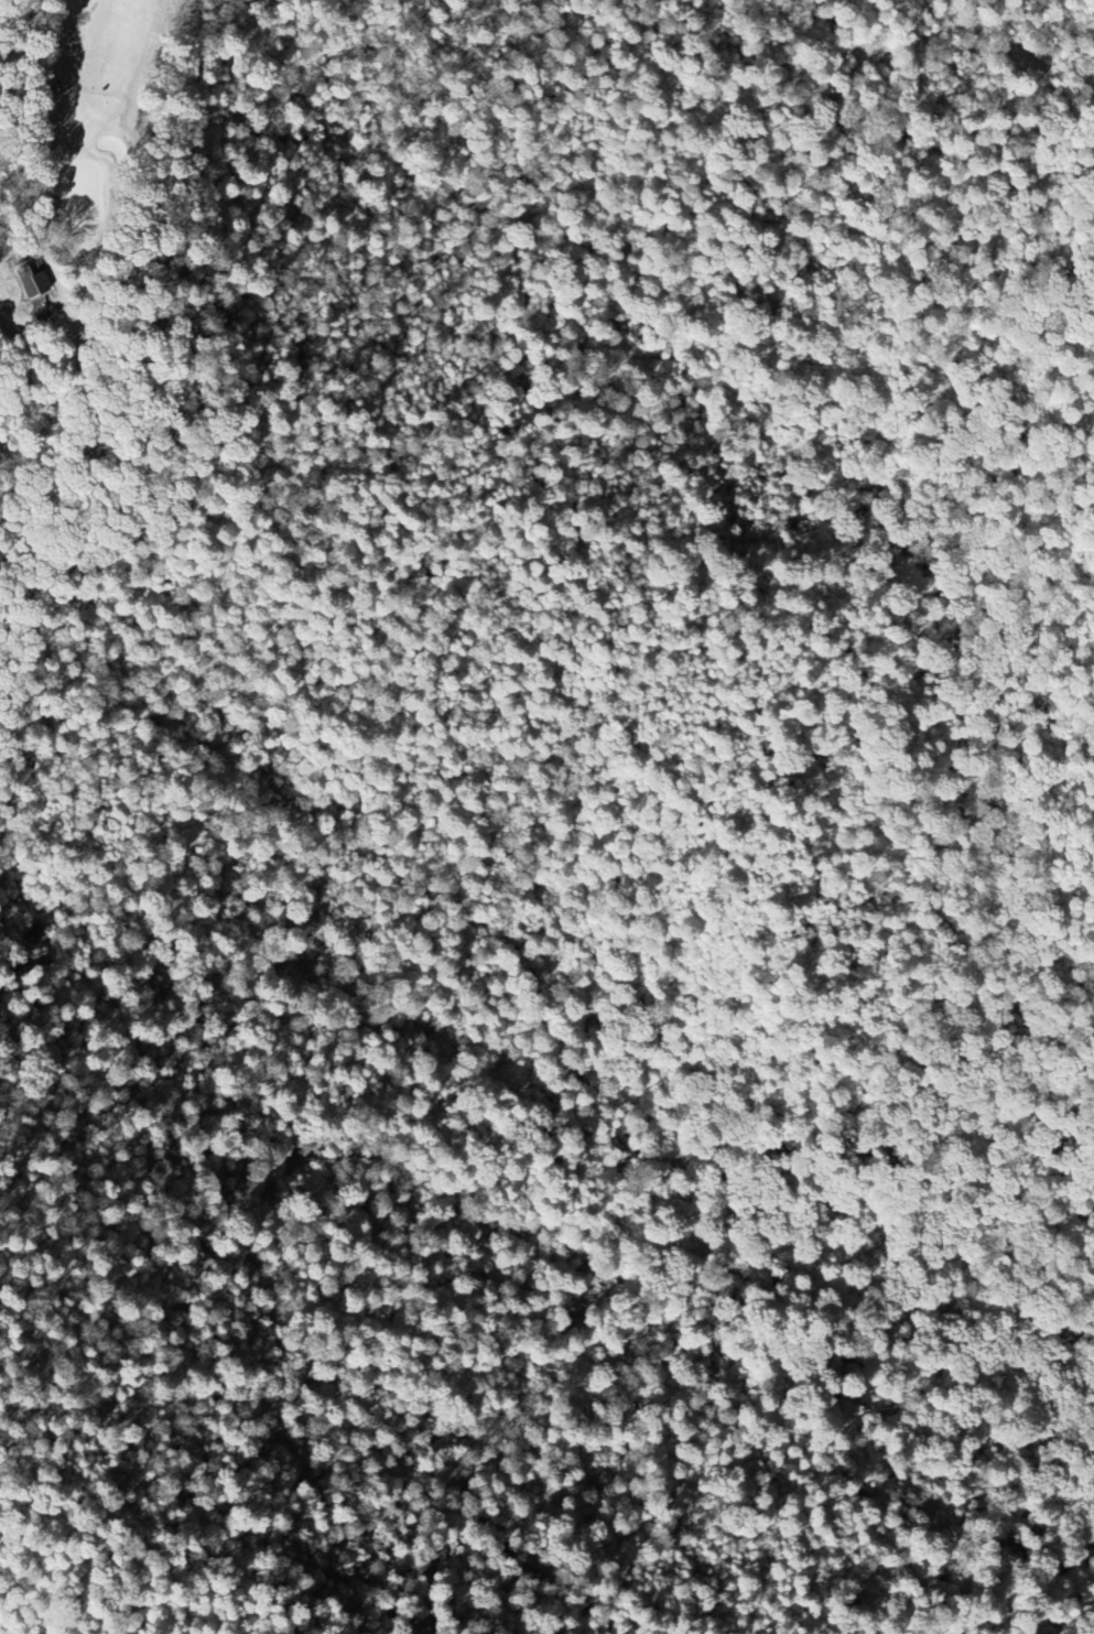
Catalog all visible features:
road: (62, 355)

